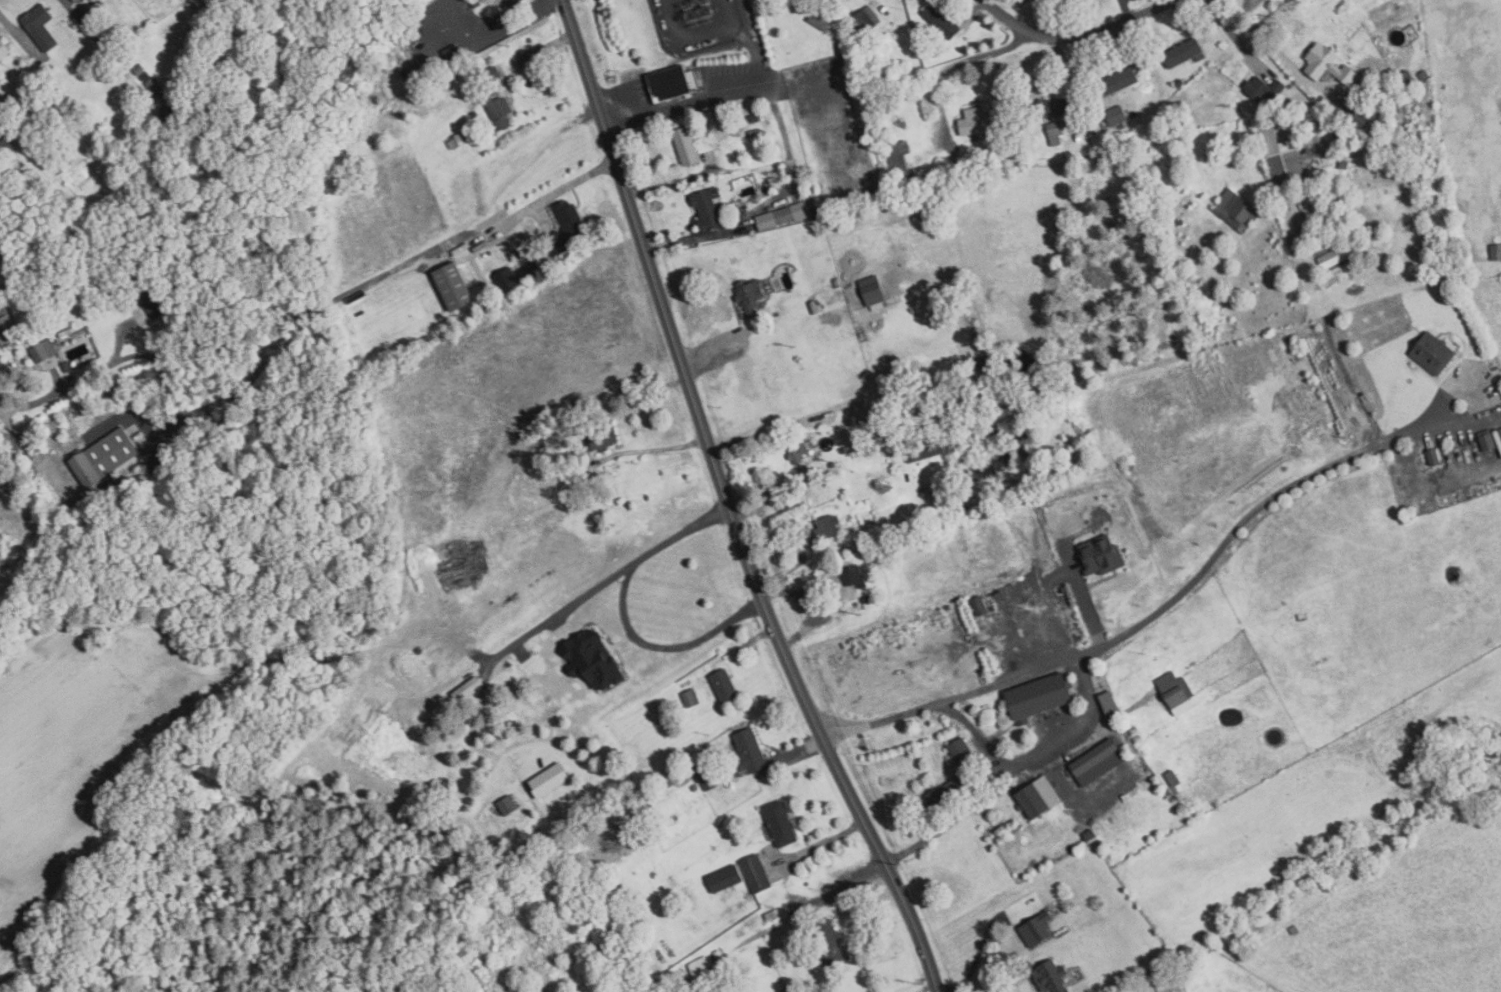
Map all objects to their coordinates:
building: (68, 0)
building: (77, 0)
building: (437, 0)
building: (509, 2)
building: (213, 3)
building: (476, 3)
building: (481, 10)
building: (823, 18)
road: (1221, 18)
building: (866, 19)
building: (942, 20)
power substation: (697, 23)
building: (40, 25)
road: (1080, 36)
building: (4, 49)
building: (453, 52)
building: (1182, 52)
road: (1279, 52)
building: (1325, 63)
building: (139, 67)
building: (494, 73)
building: (1422, 74)
building: (145, 75)
building: (29, 76)
building: (1403, 77)
building: (1119, 81)
building: (673, 82)
building: (153, 84)
building: (1262, 88)
building: (1050, 106)
building: (500, 111)
building: (170, 114)
building: (1116, 115)
building: (755, 117)
building: (1358, 120)
building: (977, 121)
building: (1323, 124)
building: (1053, 128)
building: (757, 132)
building: (1352, 133)
building: (27, 136)
building: (456, 141)
building: (3, 142)
building: (686, 146)
building: (1383, 157)
building: (899, 161)
building: (1280, 163)
building: (1342, 163)
building: (972, 169)
building: (1234, 210)
building: (711, 213)
building: (783, 216)
road: (479, 219)
building: (1179, 220)
building: (564, 228)
building: (1494, 250)
building: (519, 275)
building: (457, 286)
building: (840, 292)
building: (750, 295)
road: (661, 301)
building: (154, 302)
building: (814, 307)
building: (777, 313)
building: (8, 331)
building: (823, 333)
building: (45, 351)
building: (1430, 351)
road: (37, 365)
building: (68, 366)
road: (241, 389)
building: (1499, 429)
building: (603, 437)
building: (1485, 442)
building: (27, 446)
road: (580, 447)
building: (927, 449)
building: (799, 451)
building: (1431, 456)
building: (105, 457)
building: (160, 462)
building: (591, 482)
building: (830, 526)
building: (1104, 554)
building: (853, 575)
building: (1027, 578)
building: (868, 598)
building: (949, 606)
building: (980, 606)
building: (857, 609)
road: (625, 615)
road: (1142, 618)
building: (1283, 629)
road: (734, 651)
building: (595, 658)
building: (725, 685)
building: (1174, 687)
building: (1041, 695)
building: (692, 697)
building: (1110, 701)
building: (1130, 723)
building: (1136, 731)
building: (1140, 739)
building: (961, 750)
building: (751, 751)
road: (1044, 752)
building: (1098, 760)
building: (673, 777)
building: (1171, 778)
building: (550, 781)
building: (709, 781)
building: (695, 787)
building: (953, 790)
road: (852, 796)
building: (1040, 796)
building: (507, 805)
road: (955, 820)
building: (782, 822)
building: (1017, 827)
building: (1091, 834)
building: (756, 871)
building: (725, 877)
building: (1273, 896)
building: (1038, 929)
building: (1292, 929)
building: (831, 942)
building: (700, 966)
road: (982, 973)
building: (1052, 976)
building: (1179, 987)
road: (926, 988)

